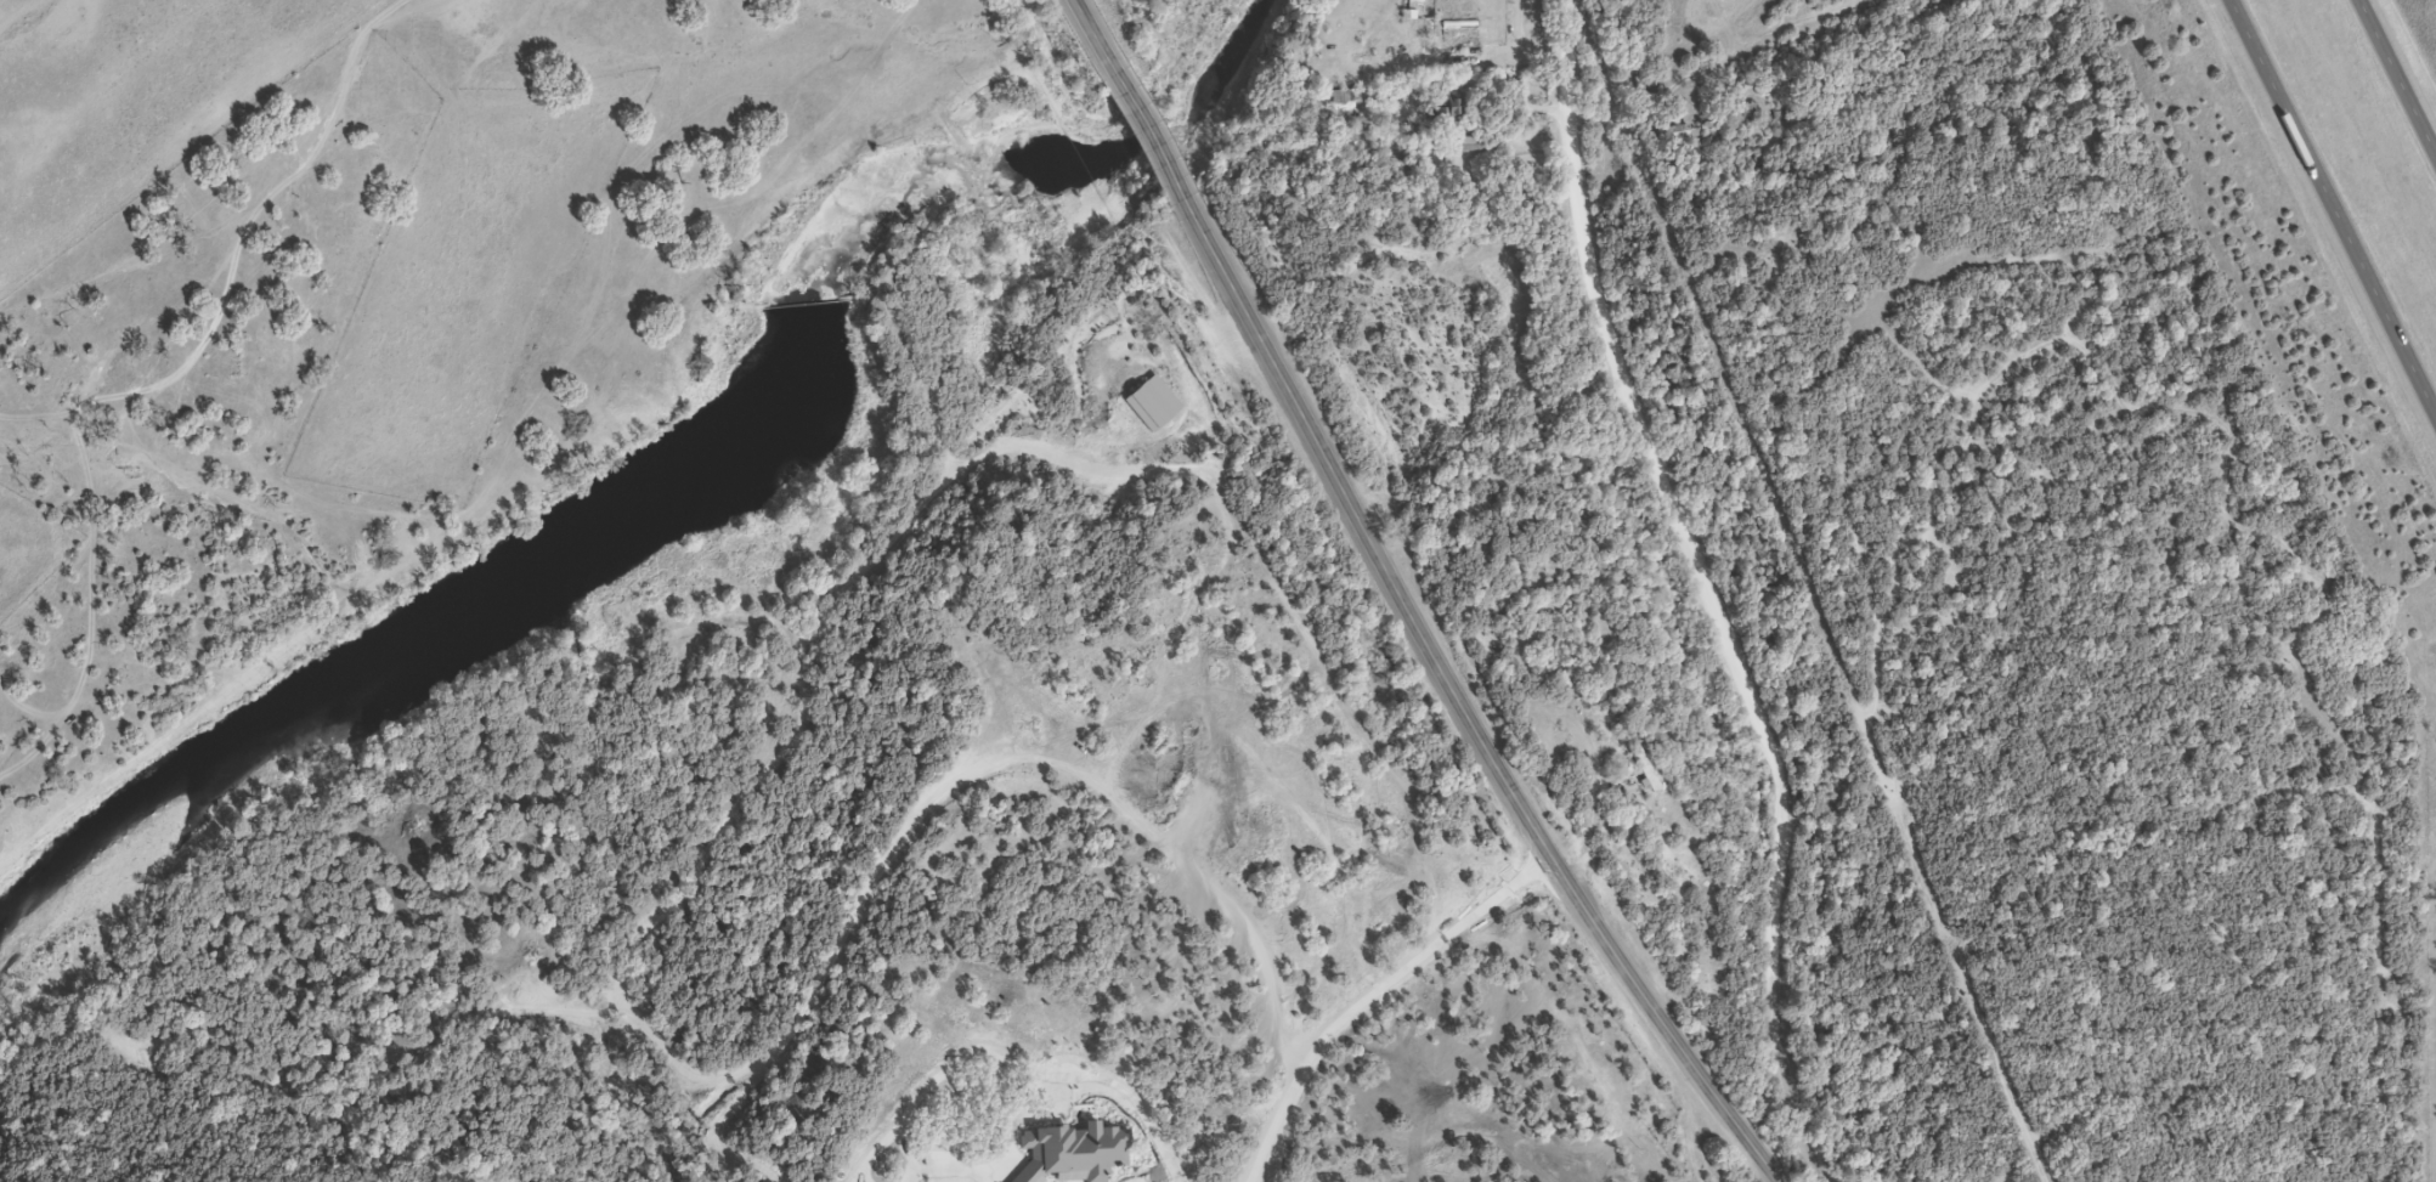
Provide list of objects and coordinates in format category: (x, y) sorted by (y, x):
road: (1092, 35)
road: (2398, 78)
building: (1443, 108)
building: (1748, 114)
building: (1680, 132)
building: (1477, 141)
road: (1155, 153)
road: (2336, 202)
road: (1703, 583)
road: (1470, 717)
road: (1366, 992)
road: (1046, 1084)
building: (931, 1161)

